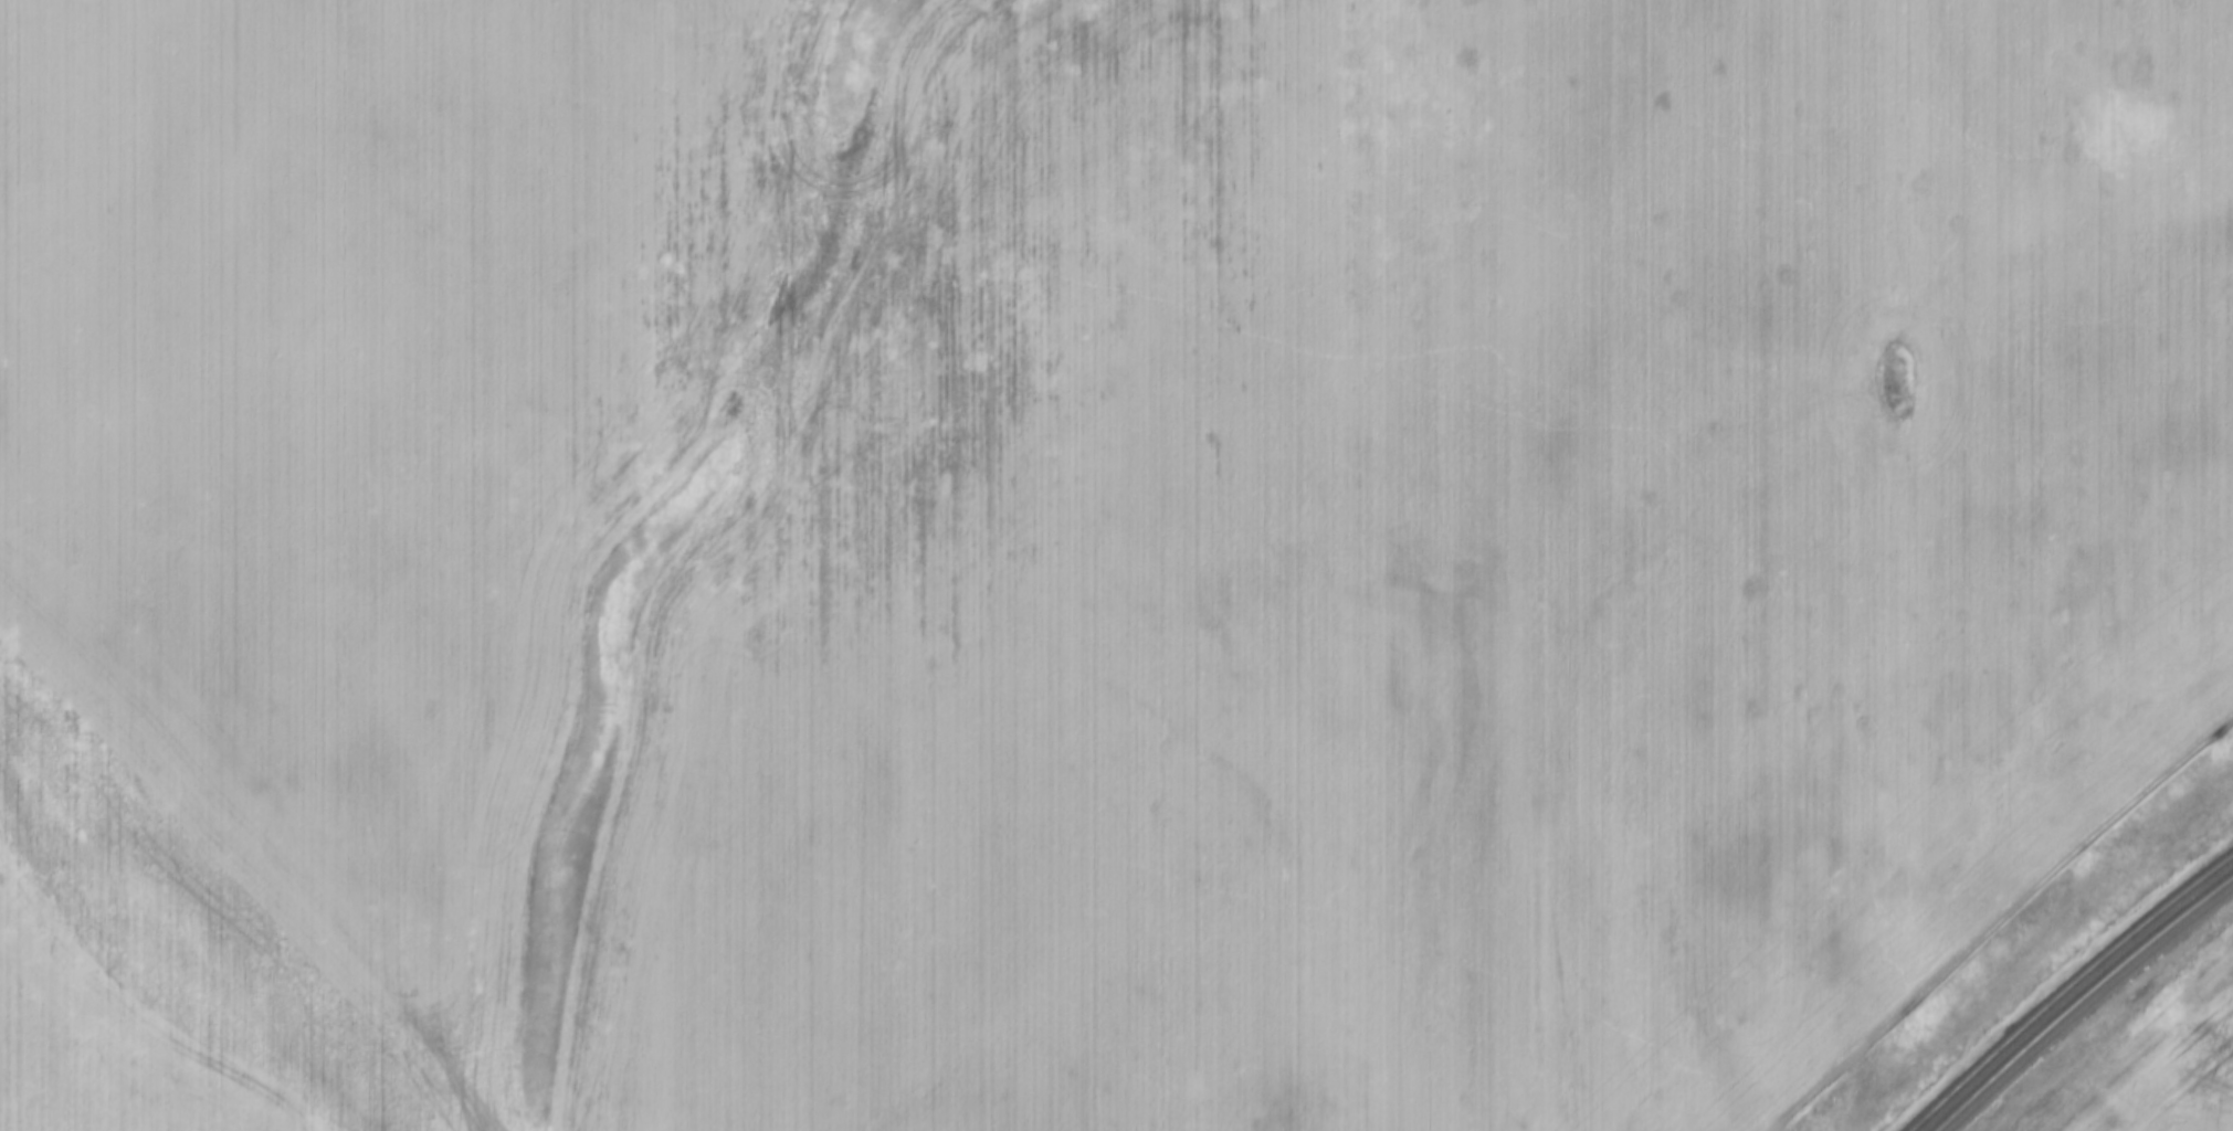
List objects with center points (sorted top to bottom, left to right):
road: (1997, 919)
railway: (2068, 990)
railway: (2079, 1001)

